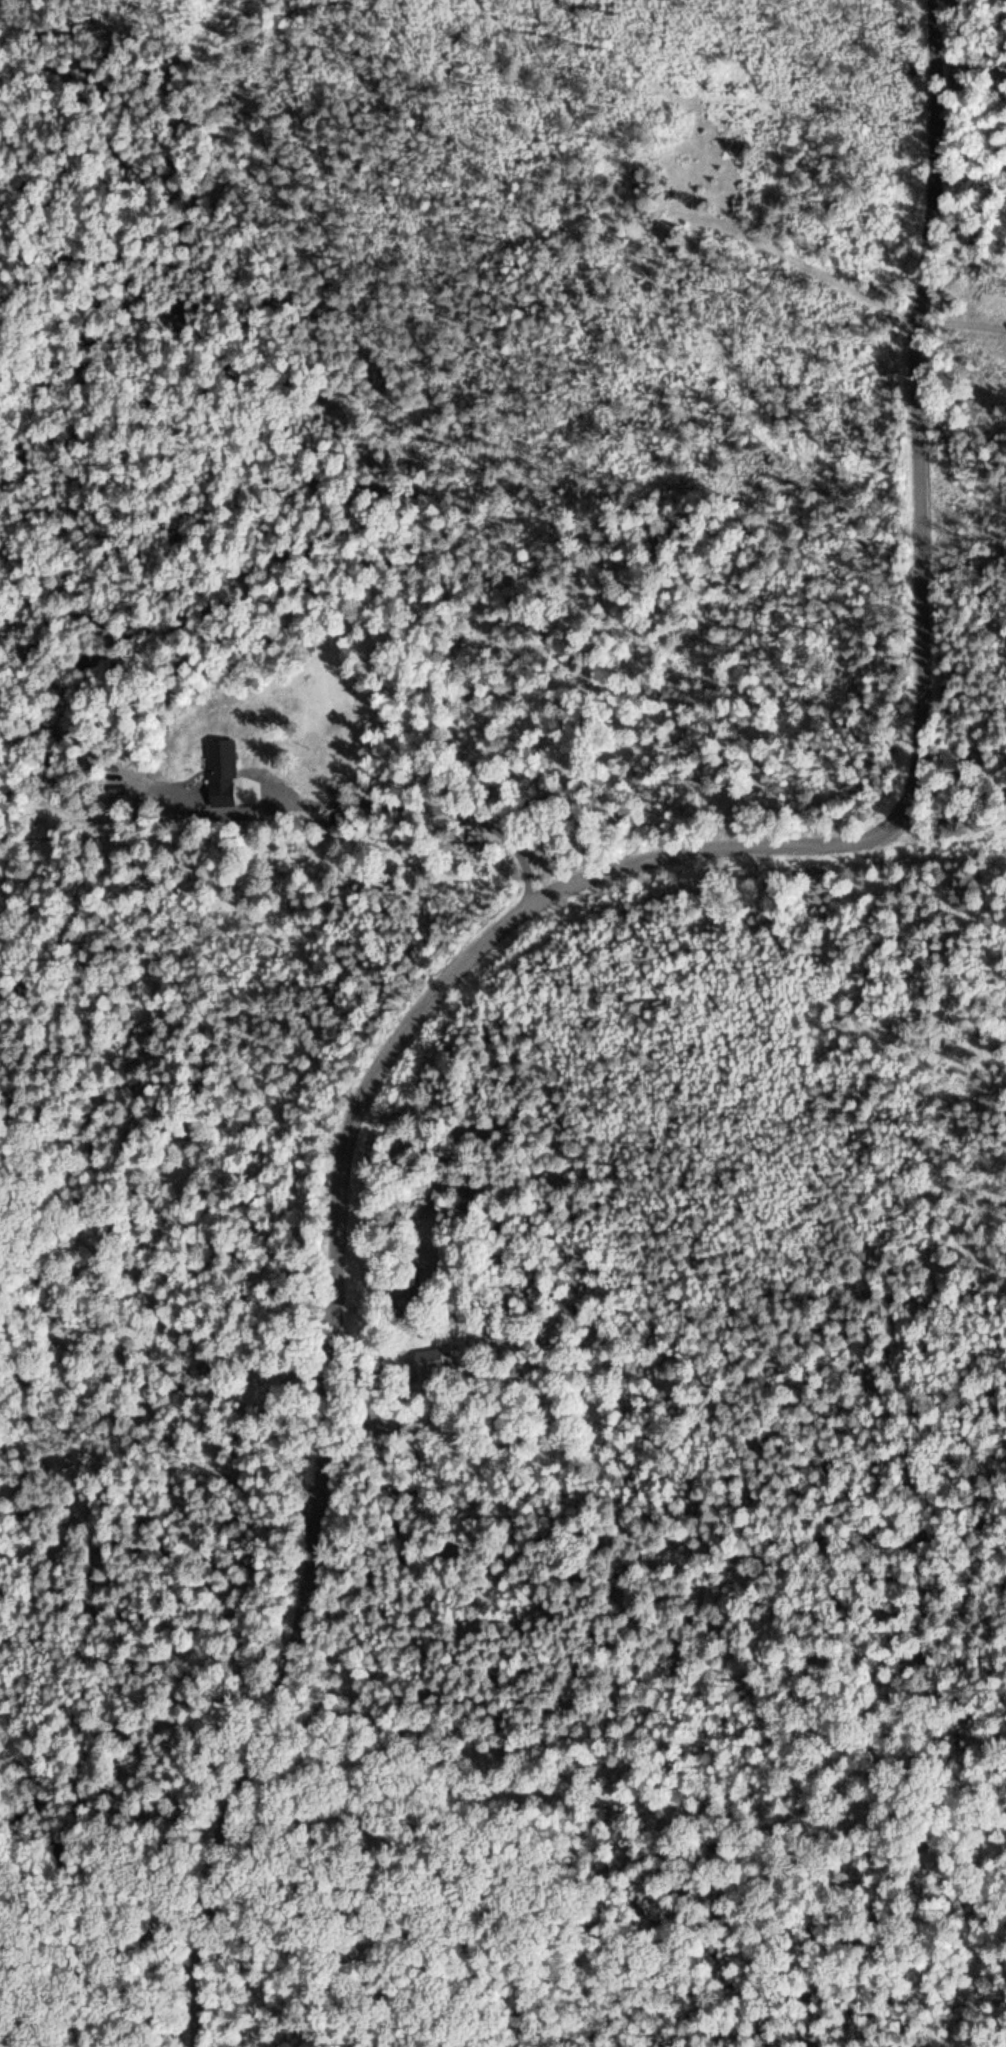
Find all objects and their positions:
road: (671, 230)
building: (220, 759)
building: (340, 819)
road: (529, 908)
building: (416, 1285)
building: (428, 1361)

